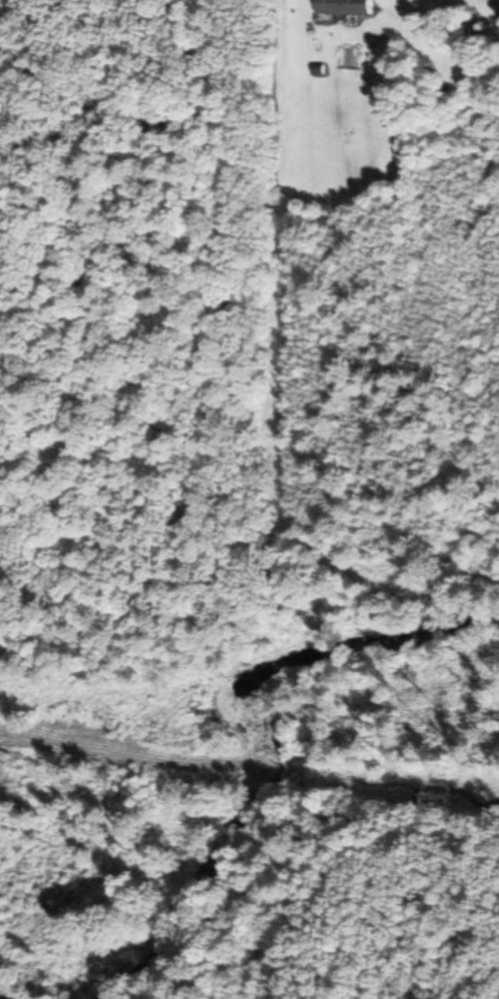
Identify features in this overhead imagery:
building: (347, 7)
building: (281, 671)

